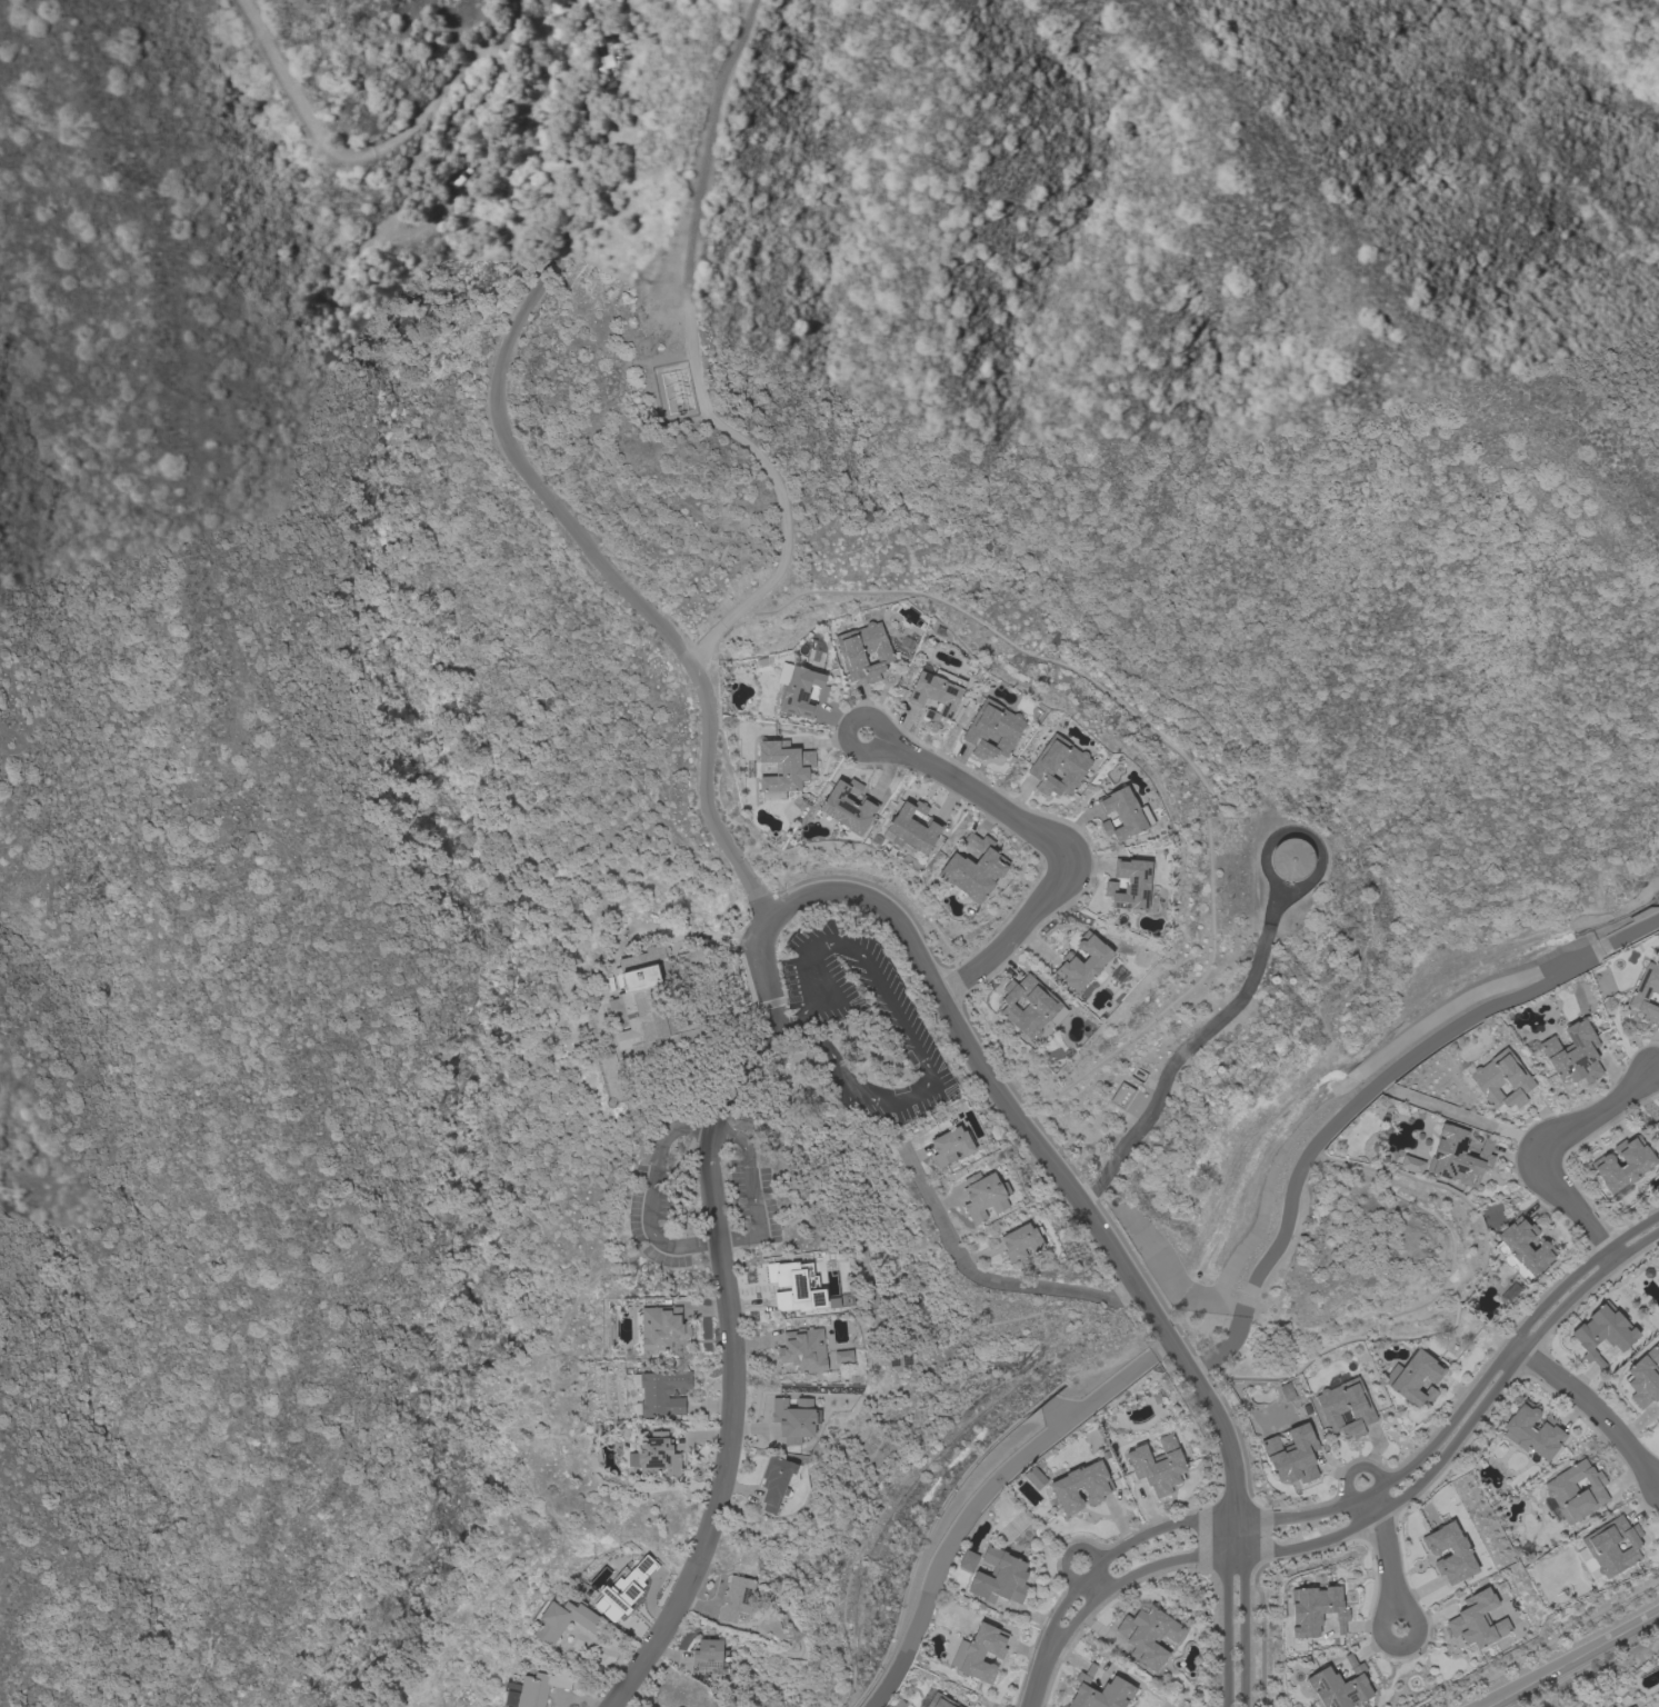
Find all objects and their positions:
road: (381, 151)
building: (551, 163)
road: (701, 362)
road: (527, 470)
building: (865, 652)
building: (802, 692)
building: (936, 695)
road: (845, 728)
building: (992, 730)
building: (1059, 767)
building: (783, 768)
building: (848, 807)
building: (1123, 815)
building: (913, 828)
road: (1057, 845)
building: (1291, 859)
building: (975, 869)
building: (1129, 885)
building: (691, 960)
building: (1083, 962)
building: (1646, 994)
building: (1030, 1006)
building: (644, 1008)
road: (774, 1030)
road: (903, 1034)
building: (1572, 1054)
road: (1169, 1069)
building: (1500, 1080)
road: (727, 1094)
road: (1365, 1094)
building: (1121, 1096)
building: (1658, 1111)
building: (1656, 1125)
building: (950, 1146)
road: (1539, 1149)
road: (1040, 1155)
building: (1458, 1157)
building: (1410, 1165)
building: (1636, 1166)
road: (752, 1191)
building: (983, 1196)
road: (650, 1199)
building: (1021, 1242)
building: (1522, 1249)
road: (986, 1282)
building: (794, 1286)
building: (661, 1328)
building: (1602, 1332)
building: (803, 1349)
building: (842, 1357)
building: (1415, 1378)
building: (1643, 1378)
building: (660, 1394)
building: (1345, 1406)
road: (1590, 1408)
building: (794, 1419)
building: (1532, 1431)
building: (656, 1456)
building: (1292, 1456)
building: (1158, 1466)
road: (1353, 1468)
building: (1035, 1477)
building: (778, 1483)
road: (1382, 1485)
building: (1097, 1488)
building: (1576, 1491)
road: (981, 1494)
road: (1396, 1499)
road: (717, 1508)
building: (1609, 1548)
road: (1067, 1554)
building: (1450, 1554)
road: (1387, 1560)
building: (968, 1561)
building: (999, 1578)
road: (1095, 1585)
building: (623, 1589)
building: (737, 1598)
building: (1315, 1610)
road: (1223, 1611)
road: (1241, 1611)
building: (562, 1620)
building: (1477, 1621)
building: (1149, 1636)
road: (1545, 1644)
building: (979, 1653)
building: (709, 1655)
road: (1568, 1657)
road: (1040, 1670)
road: (1593, 1670)
building: (1340, 1686)
building: (537, 1688)
building: (1100, 1691)
building: (935, 1700)
building: (1631, 1706)
building: (1633, 1706)

